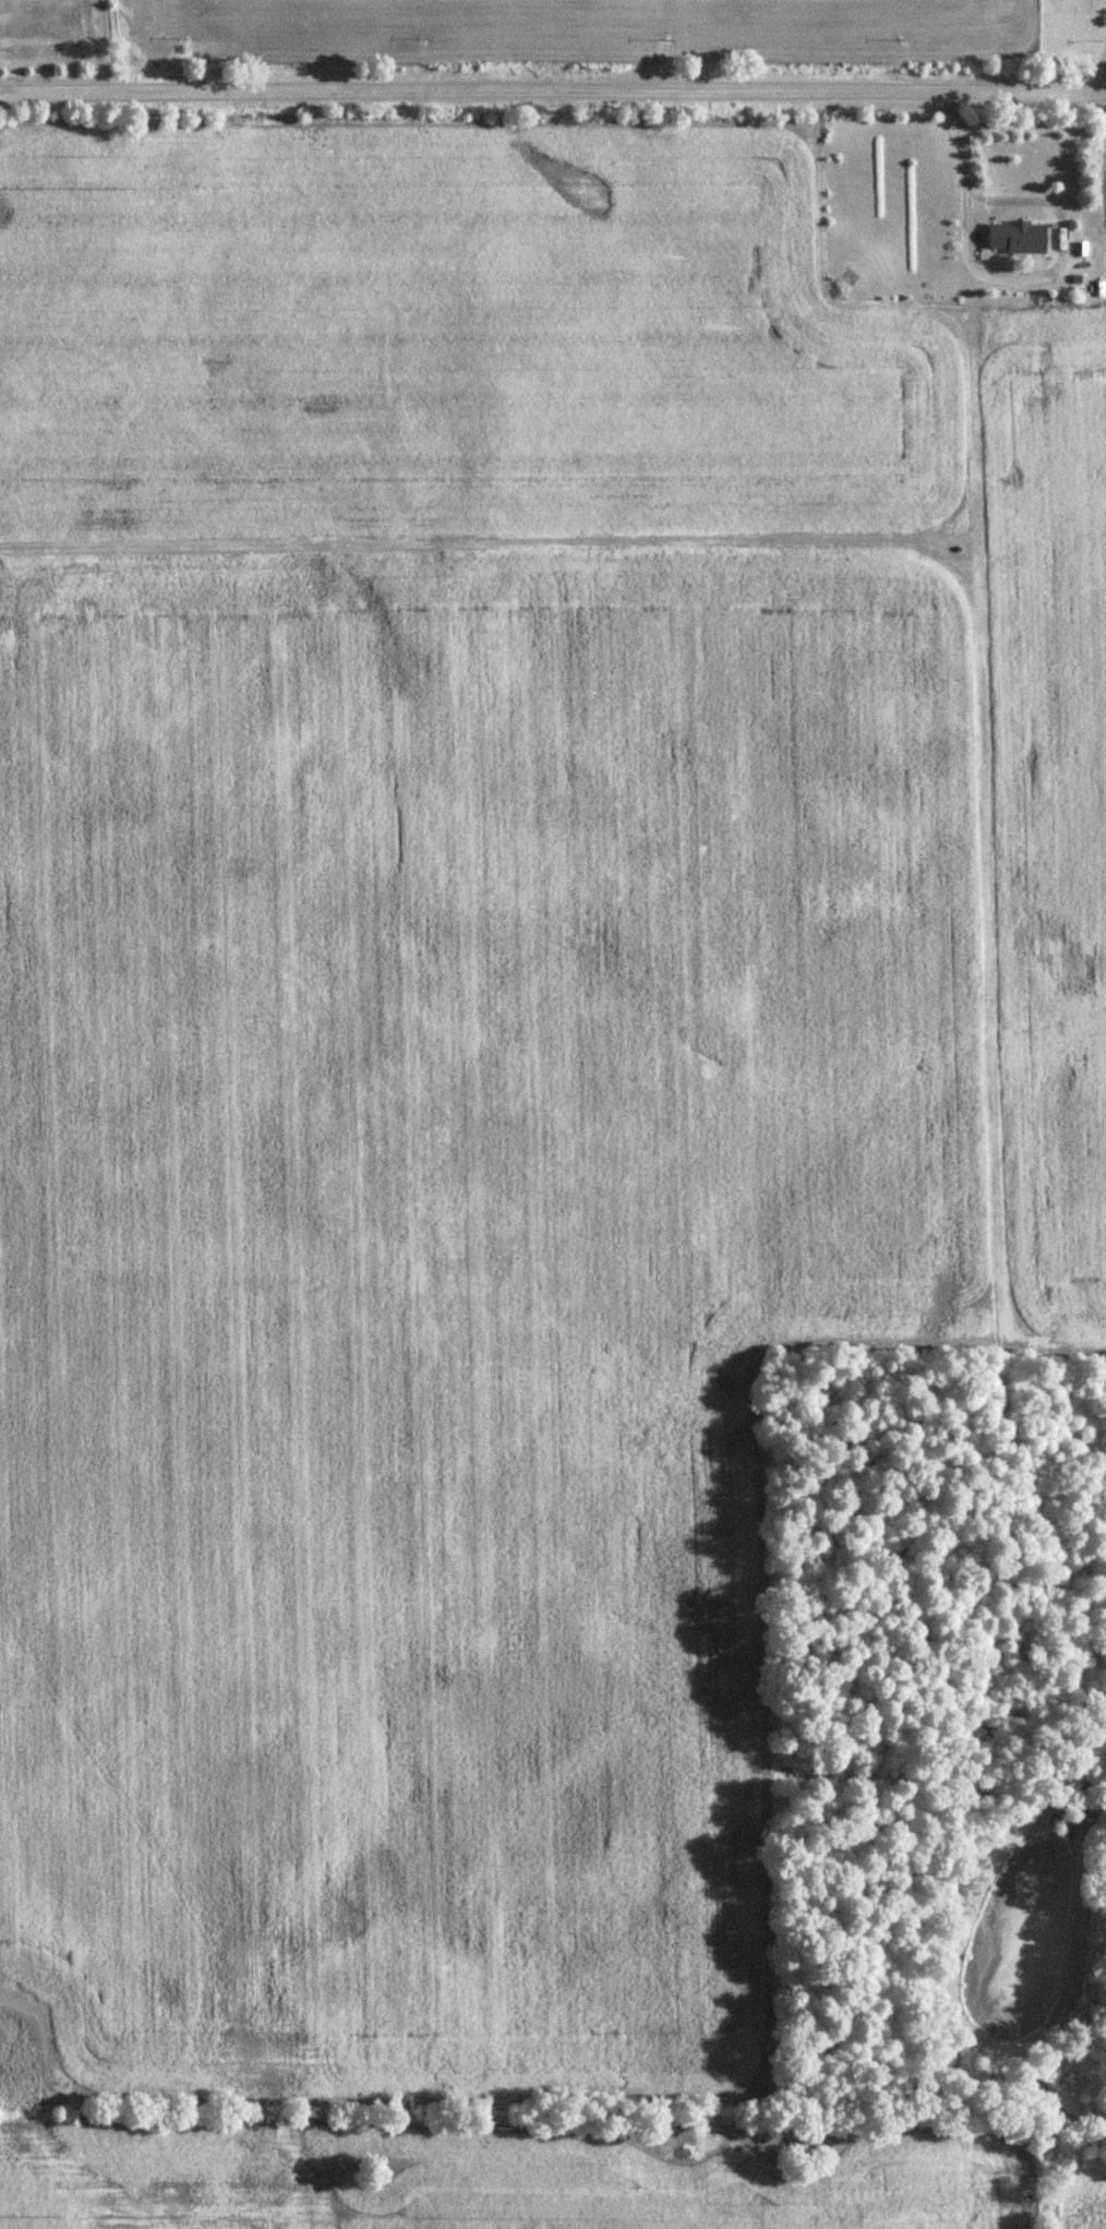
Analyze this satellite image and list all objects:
road: (552, 92)
building: (1017, 239)
road: (1000, 280)

